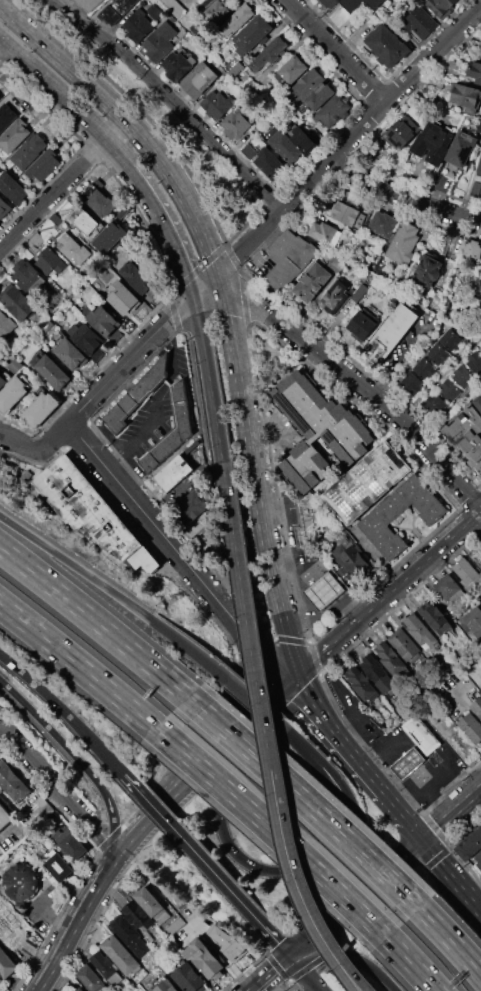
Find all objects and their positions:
building: (329, 3)
building: (89, 4)
building: (359, 4)
building: (173, 7)
building: (442, 7)
building: (116, 10)
building: (220, 10)
building: (154, 13)
building: (172, 19)
building: (236, 21)
building: (419, 22)
building: (137, 25)
building: (252, 35)
road: (351, 38)
road: (426, 40)
building: (160, 41)
road: (345, 41)
road: (47, 46)
building: (387, 46)
road: (334, 51)
building: (480, 51)
building: (267, 55)
building: (455, 64)
building: (177, 65)
road: (108, 69)
building: (292, 69)
building: (475, 71)
building: (202, 76)
building: (306, 84)
road: (413, 85)
building: (189, 88)
road: (395, 88)
road: (372, 90)
building: (319, 96)
building: (467, 97)
road: (68, 99)
road: (171, 99)
building: (217, 104)
road: (111, 105)
building: (334, 110)
building: (6, 116)
building: (235, 124)
road: (117, 131)
building: (400, 133)
building: (14, 135)
building: (303, 139)
road: (348, 140)
building: (433, 142)
building: (283, 145)
building: (28, 150)
building: (248, 150)
building: (458, 152)
building: (480, 154)
building: (270, 163)
building: (44, 164)
road: (337, 164)
building: (478, 166)
building: (13, 188)
building: (475, 188)
road: (53, 195)
road: (405, 195)
building: (99, 202)
building: (4, 207)
building: (347, 213)
building: (84, 222)
building: (381, 224)
road: (168, 228)
building: (322, 232)
building: (109, 239)
building: (402, 242)
building: (69, 247)
building: (471, 249)
building: (287, 255)
building: (366, 258)
building: (335, 260)
building: (50, 261)
building: (426, 270)
building: (480, 272)
building: (135, 277)
building: (30, 278)
building: (91, 278)
building: (312, 282)
road: (206, 284)
road: (210, 295)
building: (356, 295)
building: (335, 296)
building: (123, 298)
building: (18, 303)
building: (105, 322)
building: (361, 325)
building: (7, 326)
building: (390, 333)
building: (451, 339)
building: (88, 340)
road: (403, 352)
building: (70, 353)
building: (437, 354)
building: (474, 361)
building: (16, 365)
building: (425, 368)
building: (52, 372)
road: (118, 373)
building: (462, 376)
road: (210, 380)
building: (2, 381)
building: (412, 382)
road: (365, 385)
road: (241, 386)
building: (449, 390)
building: (11, 394)
building: (136, 394)
building: (477, 402)
building: (435, 403)
road: (156, 404)
building: (40, 409)
building: (170, 430)
building: (319, 434)
building: (466, 436)
road: (19, 441)
building: (173, 473)
building: (369, 482)
road: (134, 505)
building: (87, 510)
building: (186, 513)
building: (377, 518)
road: (286, 521)
building: (308, 524)
building: (476, 556)
building: (352, 560)
road: (325, 570)
building: (467, 573)
building: (450, 588)
building: (323, 590)
building: (480, 590)
road: (113, 591)
road: (389, 594)
building: (434, 615)
road: (96, 619)
building: (475, 624)
building: (419, 630)
road: (249, 631)
building: (404, 645)
building: (391, 657)
road: (242, 658)
road: (79, 663)
building: (377, 673)
building: (363, 684)
road: (42, 690)
road: (275, 695)
road: (255, 701)
road: (261, 701)
building: (477, 707)
building: (471, 728)
building: (421, 734)
road: (336, 735)
road: (301, 743)
road: (99, 747)
road: (381, 751)
road: (77, 758)
building: (407, 762)
road: (404, 766)
building: (13, 781)
road: (183, 785)
road: (60, 794)
road: (427, 794)
road: (409, 797)
road: (307, 801)
building: (38, 808)
road: (451, 809)
road: (401, 813)
building: (4, 818)
road: (357, 819)
road: (18, 822)
road: (274, 831)
traffic signals: (422, 836)
building: (71, 845)
road: (190, 846)
building: (469, 846)
building: (55, 866)
road: (253, 868)
road: (451, 872)
building: (21, 882)
road: (356, 893)
building: (152, 905)
road: (55, 917)
building: (140, 920)
road: (78, 924)
road: (188, 925)
building: (129, 935)
road: (277, 939)
road: (451, 939)
building: (226, 942)
traffic signals: (291, 951)
road: (221, 953)
building: (121, 955)
building: (204, 957)
road: (349, 957)
road: (346, 960)
building: (7, 963)
road: (334, 963)
road: (412, 964)
building: (107, 968)
road: (307, 970)
road: (268, 971)
building: (190, 977)
building: (91, 978)
building: (167, 986)
building: (80, 989)

